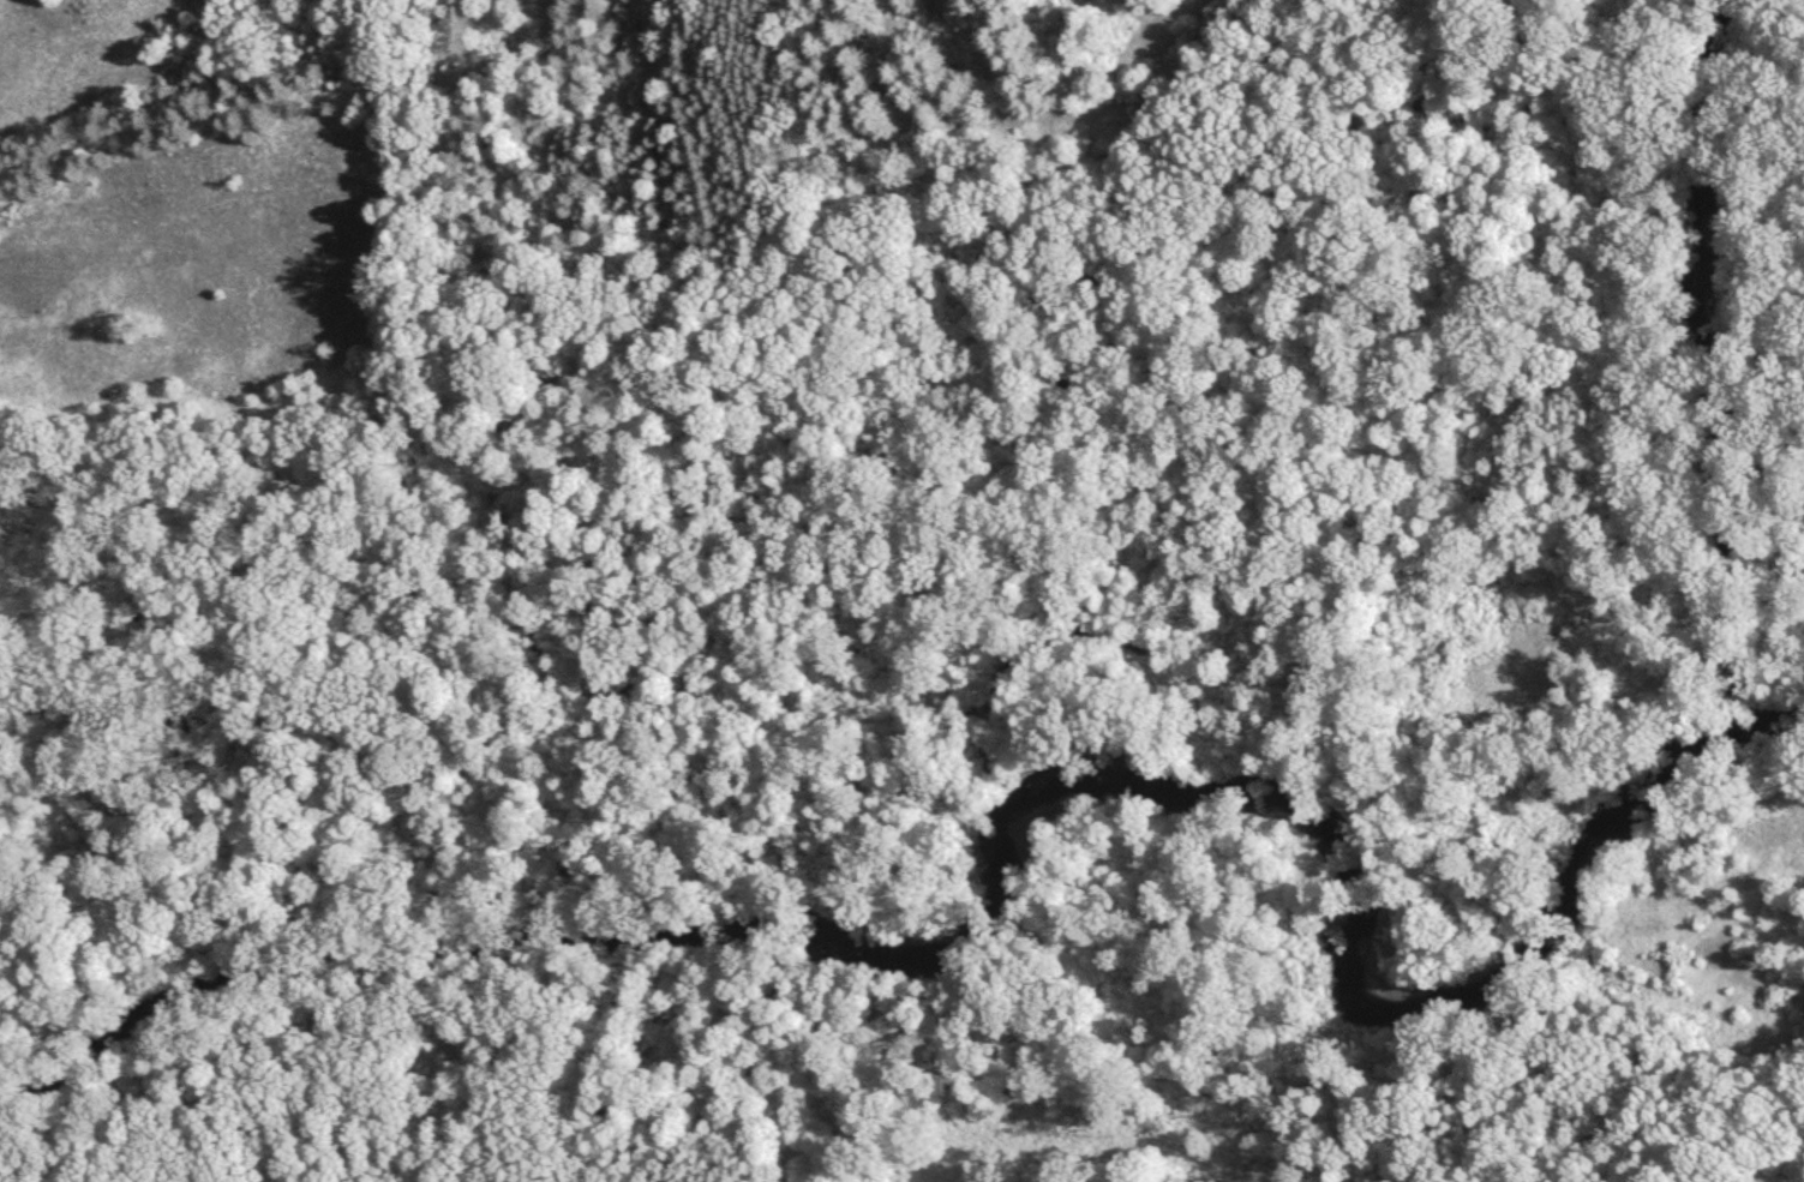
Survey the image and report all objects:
road: (618, 242)
river: (1722, 353)
road: (918, 782)
road: (1502, 835)
river: (1019, 862)

